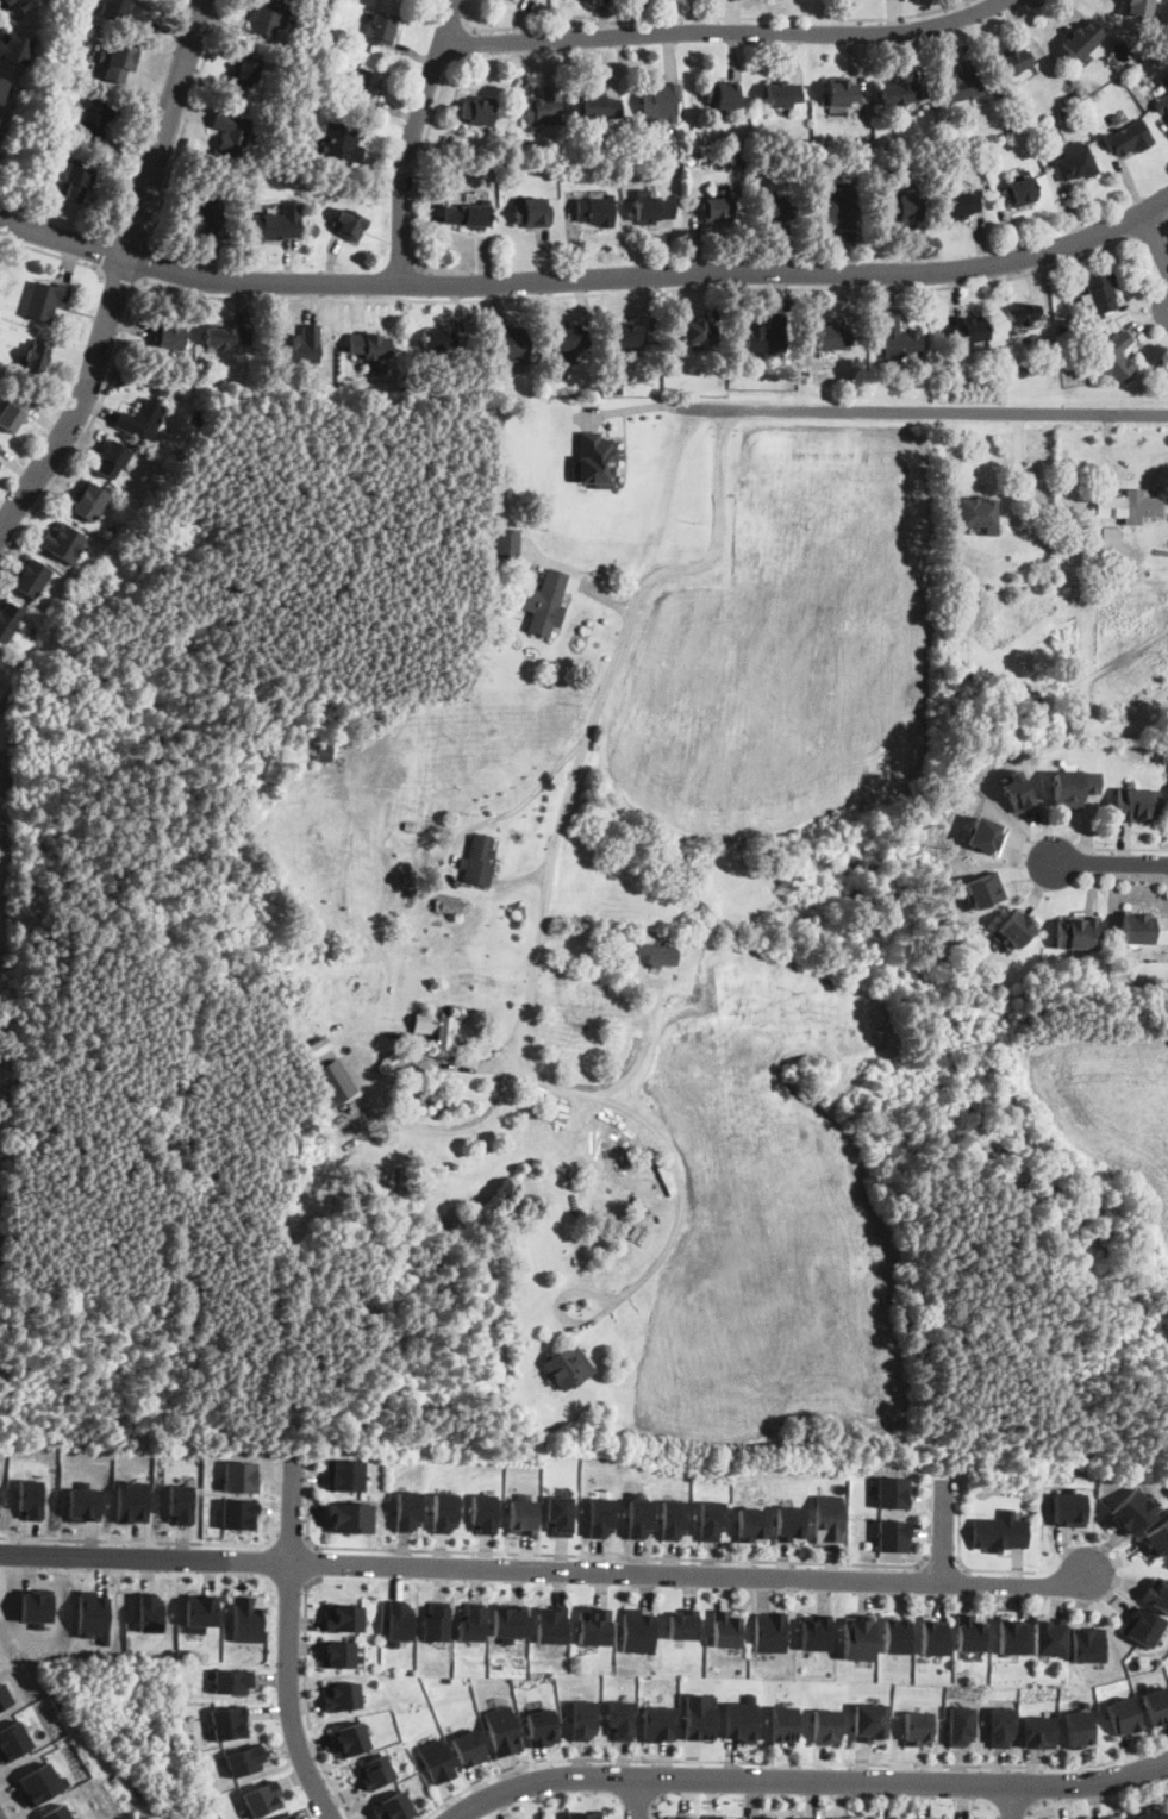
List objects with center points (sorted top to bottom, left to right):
building: (21, 5)
building: (1139, 8)
building: (123, 12)
building: (267, 15)
road: (705, 19)
building: (382, 30)
road: (725, 32)
building: (1083, 39)
road: (460, 42)
building: (15, 45)
building: (1151, 46)
building: (1158, 55)
building: (119, 62)
building: (1017, 62)
building: (246, 70)
building: (363, 83)
building: (962, 83)
building: (1163, 83)
building: (2, 87)
building: (842, 93)
building: (902, 93)
building: (724, 95)
building: (783, 95)
building: (1070, 100)
building: (661, 104)
building: (1161, 104)
building: (1081, 106)
building: (600, 107)
building: (543, 108)
building: (477, 113)
building: (1064, 115)
building: (93, 121)
road: (185, 125)
building: (231, 133)
building: (1129, 138)
road: (413, 139)
building: (342, 142)
building: (866, 143)
building: (985, 145)
building: (864, 156)
building: (738, 158)
building: (1075, 163)
road: (419, 165)
building: (629, 167)
building: (79, 181)
building: (441, 189)
building: (1022, 192)
building: (961, 205)
building: (838, 206)
building: (906, 208)
building: (717, 210)
building: (777, 210)
building: (652, 211)
building: (595, 212)
building: (206, 213)
building: (532, 213)
building: (467, 215)
building: (277, 225)
building: (350, 225)
road: (1150, 230)
road: (1156, 237)
road: (63, 239)
road: (56, 256)
road: (144, 265)
road: (121, 274)
road: (652, 275)
road: (119, 280)
road: (420, 285)
building: (1100, 290)
building: (44, 300)
road: (480, 300)
building: (1022, 314)
building: (970, 331)
building: (699, 332)
building: (226, 336)
building: (630, 336)
building: (767, 336)
building: (832, 336)
building: (170, 337)
building: (570, 338)
building: (438, 339)
building: (899, 342)
building: (511, 344)
building: (369, 345)
building: (300, 346)
building: (37, 357)
building: (1114, 357)
building: (1022, 371)
building: (548, 382)
building: (125, 383)
building: (616, 388)
road: (658, 405)
road: (945, 413)
building: (13, 414)
building: (142, 420)
building: (0, 443)
building: (0, 446)
building: (112, 458)
building: (594, 460)
building: (0, 461)
building: (0, 463)
building: (496, 489)
building: (88, 502)
building: (495, 505)
building: (1128, 506)
building: (976, 513)
building: (507, 542)
building: (63, 543)
building: (1110, 545)
building: (957, 570)
building: (30, 579)
building: (544, 602)
building: (8, 621)
road: (606, 680)
building: (964, 680)
building: (11, 715)
building: (1072, 721)
building: (1161, 756)
building: (323, 760)
building: (1074, 786)
building: (1019, 790)
building: (1137, 804)
building: (410, 826)
building: (988, 835)
road: (1128, 849)
road: (1110, 860)
building: (479, 862)
building: (987, 889)
building: (450, 906)
building: (1016, 927)
building: (1137, 927)
building: (1079, 932)
building: (656, 955)
building: (963, 968)
road: (8, 971)
building: (436, 1029)
building: (317, 1046)
building: (335, 1082)
road: (383, 1109)
road: (658, 1134)
building: (1, 1244)
building: (568, 1367)
building: (593, 1429)
building: (344, 1474)
building: (242, 1476)
building: (894, 1492)
building: (31, 1498)
building: (132, 1501)
building: (181, 1502)
building: (85, 1504)
building: (1070, 1509)
building: (407, 1511)
building: (444, 1511)
building: (483, 1512)
building: (1129, 1512)
building: (239, 1513)
building: (523, 1514)
building: (560, 1514)
building: (639, 1515)
building: (349, 1517)
building: (601, 1517)
building: (674, 1519)
building: (829, 1519)
building: (712, 1520)
building: (789, 1523)
building: (751, 1524)
road: (942, 1531)
building: (1000, 1532)
building: (893, 1536)
road: (293, 1538)
building: (1157, 1538)
road: (142, 1542)
road: (581, 1556)
road: (960, 1559)
road: (943, 1561)
road: (317, 1564)
road: (548, 1570)
building: (1157, 1594)
building: (38, 1607)
building: (200, 1611)
building: (150, 1612)
building: (94, 1615)
building: (248, 1617)
building: (344, 1617)
building: (508, 1620)
building: (399, 1621)
building: (437, 1621)
building: (471, 1621)
building: (682, 1623)
building: (551, 1624)
building: (593, 1625)
building: (1143, 1626)
building: (724, 1627)
building: (636, 1630)
building: (816, 1631)
building: (769, 1632)
building: (969, 1632)
building: (895, 1634)
building: (1011, 1634)
building: (932, 1636)
building: (1049, 1636)
building: (857, 1637)
road: (289, 1644)
building: (1088, 1644)
building: (339, 1654)
building: (232, 1681)
building: (342, 1695)
building: (5, 1696)
road: (306, 1700)
building: (1157, 1706)
building: (699, 1715)
building: (1125, 1717)
building: (582, 1719)
building: (620, 1719)
building: (741, 1719)
building: (229, 1723)
building: (782, 1723)
building: (869, 1723)
building: (657, 1724)
building: (961, 1725)
building: (826, 1726)
building: (1001, 1726)
building: (542, 1727)
building: (918, 1727)
building: (1079, 1729)
building: (504, 1731)
building: (1039, 1731)
building: (350, 1739)
building: (13, 1740)
building: (470, 1748)
building: (245, 1759)
building: (437, 1761)
road: (792, 1763)
building: (376, 1771)
road: (663, 1779)
road: (807, 1782)
building: (39, 1783)
road: (1044, 1786)
building: (263, 1798)
road: (638, 1799)
road: (1013, 1802)
road: (655, 1805)
building: (394, 1807)
road: (1038, 1808)
building: (56, 1812)
building: (1148, 1813)
building: (586, 1814)
building: (714, 1815)
building: (287, 1817)
building: (680, 1817)
building: (763, 1817)
building: (802, 1817)
building: (855, 1817)
building: (836, 1818)
building: (893, 1818)
building: (931, 1818)
building: (1105, 1818)
building: (1118, 1818)

